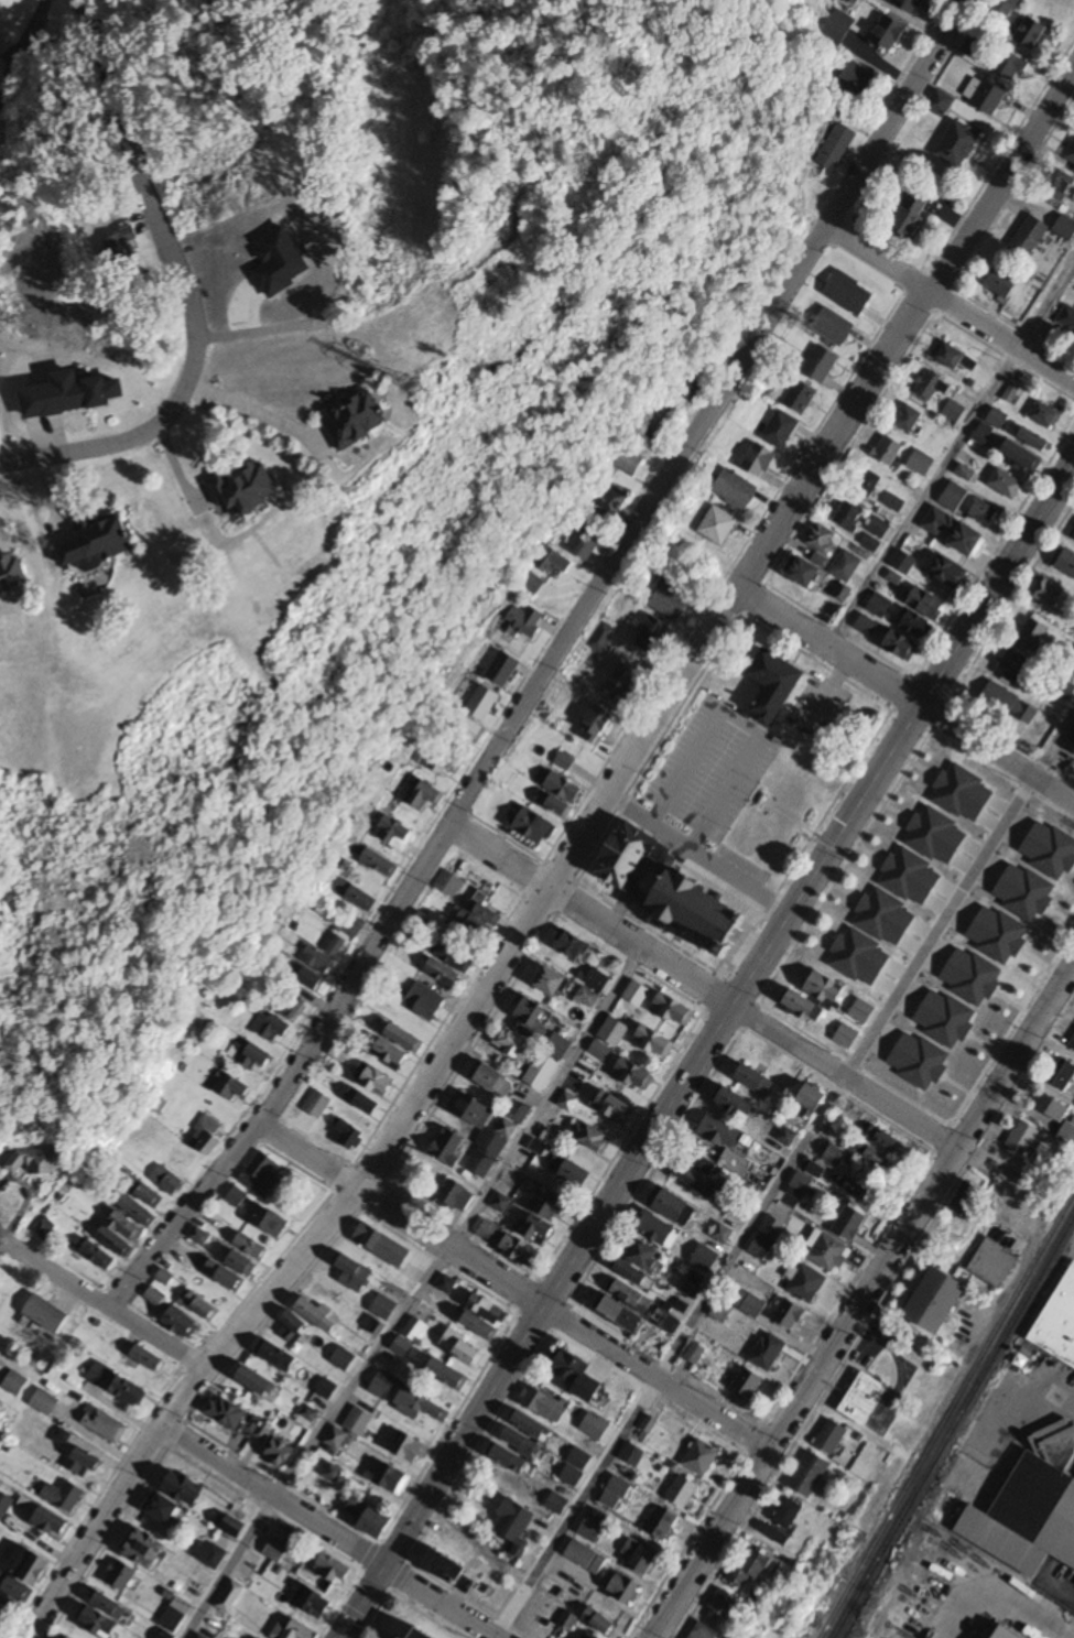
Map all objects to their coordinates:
building: (910, 6)
building: (1002, 10)
building: (838, 28)
road: (17, 32)
building: (888, 34)
building: (1033, 34)
building: (63, 42)
building: (1010, 65)
building: (857, 80)
building: (944, 108)
building: (958, 145)
building: (837, 149)
building: (1071, 155)
building: (1059, 189)
building: (923, 213)
building: (1066, 229)
building: (1029, 238)
building: (118, 247)
building: (143, 283)
building: (1002, 283)
road: (183, 291)
building: (849, 294)
road: (950, 305)
building: (1066, 319)
building: (834, 328)
building: (954, 357)
building: (822, 366)
power tower: (424, 387)
building: (932, 387)
building: (1011, 393)
building: (801, 398)
building: (954, 412)
road: (254, 413)
building: (1043, 414)
building: (909, 419)
building: (356, 420)
building: (781, 430)
building: (983, 433)
building: (1034, 438)
building: (889, 449)
road: (953, 452)
building: (1021, 455)
building: (760, 460)
building: (630, 462)
building: (921, 463)
building: (966, 473)
building: (868, 481)
building: (1005, 484)
building: (246, 489)
building: (736, 489)
building: (953, 497)
building: (610, 500)
building: (893, 502)
building: (984, 512)
building: (849, 516)
building: (936, 522)
building: (718, 524)
building: (875, 534)
building: (1073, 538)
building: (102, 539)
building: (967, 540)
building: (587, 543)
building: (815, 555)
building: (908, 555)
building: (553, 560)
building: (1066, 562)
building: (947, 571)
building: (845, 572)
building: (12, 573)
building: (533, 584)
building: (1050, 592)
building: (671, 597)
building: (926, 603)
building: (879, 605)
building: (527, 620)
building: (914, 622)
building: (866, 626)
building: (653, 634)
building: (1033, 634)
building: (600, 638)
building: (901, 646)
road: (549, 663)
building: (1012, 666)
building: (503, 669)
building: (774, 685)
building: (1065, 688)
road: (907, 694)
building: (484, 703)
building: (609, 703)
building: (1010, 704)
building: (467, 727)
building: (1071, 746)
road: (1056, 750)
building: (446, 761)
building: (730, 782)
building: (420, 793)
building: (558, 795)
building: (529, 824)
building: (398, 833)
road: (699, 856)
building: (381, 863)
road: (565, 864)
building: (448, 883)
building: (672, 888)
building: (358, 896)
building: (476, 923)
road: (933, 924)
building: (351, 928)
building: (334, 944)
building: (574, 947)
building: (453, 956)
building: (316, 959)
building: (443, 973)
building: (312, 979)
building: (549, 980)
building: (596, 980)
road: (702, 987)
building: (824, 988)
building: (627, 999)
building: (419, 1002)
building: (288, 1004)
building: (801, 1005)
building: (673, 1010)
building: (531, 1018)
building: (273, 1030)
building: (612, 1032)
building: (404, 1038)
building: (654, 1042)
building: (514, 1045)
building: (1073, 1045)
building: (557, 1048)
road: (705, 1049)
building: (599, 1052)
building: (391, 1054)
building: (256, 1057)
building: (541, 1073)
building: (633, 1075)
building: (1063, 1076)
building: (492, 1080)
building: (755, 1081)
building: (376, 1082)
building: (230, 1087)
building: (813, 1098)
building: (362, 1103)
building: (567, 1103)
building: (734, 1103)
building: (317, 1106)
building: (1054, 1107)
building: (615, 1108)
building: (470, 1110)
building: (1068, 1133)
building: (208, 1136)
building: (347, 1136)
building: (501, 1137)
building: (589, 1137)
building: (788, 1137)
building: (882, 1138)
building: (722, 1140)
building: (448, 1148)
building: (879, 1159)
building: (34, 1161)
building: (481, 1163)
building: (694, 1173)
building: (575, 1174)
building: (261, 1176)
building: (167, 1181)
building: (800, 1186)
building: (151, 1196)
building: (457, 1196)
building: (236, 1197)
building: (965, 1198)
building: (501, 1203)
building: (673, 1206)
building: (138, 1209)
building: (544, 1218)
building: (267, 1219)
building: (851, 1221)
building: (44, 1228)
building: (772, 1228)
building: (658, 1230)
building: (489, 1232)
building: (122, 1235)
building: (200, 1236)
road: (1, 1243)
building: (381, 1245)
building: (251, 1246)
building: (520, 1250)
building: (826, 1250)
building: (98, 1255)
building: (648, 1258)
building: (705, 1259)
building: (242, 1263)
building: (992, 1263)
building: (354, 1269)
building: (634, 1274)
building: (226, 1276)
building: (165, 1278)
building: (806, 1283)
building: (446, 1284)
building: (692, 1287)
road: (511, 1288)
road: (417, 1294)
building: (632, 1297)
building: (156, 1299)
building: (940, 1300)
road: (861, 1304)
road: (100, 1305)
building: (199, 1305)
building: (753, 1306)
building: (382, 1308)
building: (722, 1313)
building: (46, 1314)
building: (317, 1314)
building: (788, 1314)
building: (625, 1315)
building: (484, 1316)
building: (1057, 1322)
building: (182, 1323)
building: (371, 1324)
building: (414, 1328)
building: (293, 1330)
building: (401, 1346)
building: (463, 1348)
building: (768, 1353)
building: (694, 1354)
building: (275, 1355)
road: (664, 1356)
building: (148, 1358)
building: (345, 1362)
building: (572, 1368)
building: (447, 1373)
building: (377, 1377)
building: (254, 1380)
building: (14, 1384)
building: (748, 1384)
building: (117, 1385)
building: (326, 1388)
building: (865, 1400)
building: (44, 1402)
building: (544, 1403)
building: (430, 1407)
building: (226, 1412)
railway: (946, 1414)
building: (306, 1417)
building: (357, 1421)
building: (105, 1424)
railway: (952, 1424)
building: (531, 1425)
building: (595, 1428)
building: (257, 1429)
building: (833, 1438)
building: (335, 1439)
building: (411, 1449)
building: (513, 1451)
building: (280, 1453)
building: (632, 1455)
building: (701, 1458)
building: (82, 1463)
building: (575, 1468)
building: (333, 1473)
building: (811, 1476)
building: (395, 1480)
building: (184, 1488)
building: (682, 1493)
building: (63, 1496)
building: (612, 1498)
building: (4, 1504)
building: (556, 1505)
building: (164, 1509)
building: (789, 1515)
building: (1026, 1517)
building: (370, 1518)
building: (51, 1523)
building: (661, 1523)
building: (516, 1526)
building: (234, 1528)
building: (592, 1531)
road: (325, 1533)
building: (774, 1534)
road: (412, 1548)
building: (144, 1549)
building: (275, 1550)
building: (210, 1555)
building: (581, 1555)
building: (641, 1558)
building: (29, 1566)
building: (446, 1566)
building: (750, 1568)
building: (334, 1569)
building: (121, 1576)
building: (13, 1587)
building: (626, 1590)
road: (996, 1593)
building: (229, 1597)
building: (310, 1601)
building: (727, 1605)
building: (102, 1616)
building: (1, 1617)
building: (600, 1623)
building: (293, 1630)
building: (705, 1632)
building: (1007, 1632)
building: (420, 1634)
building: (199, 1637)
building: (590, 1637)

